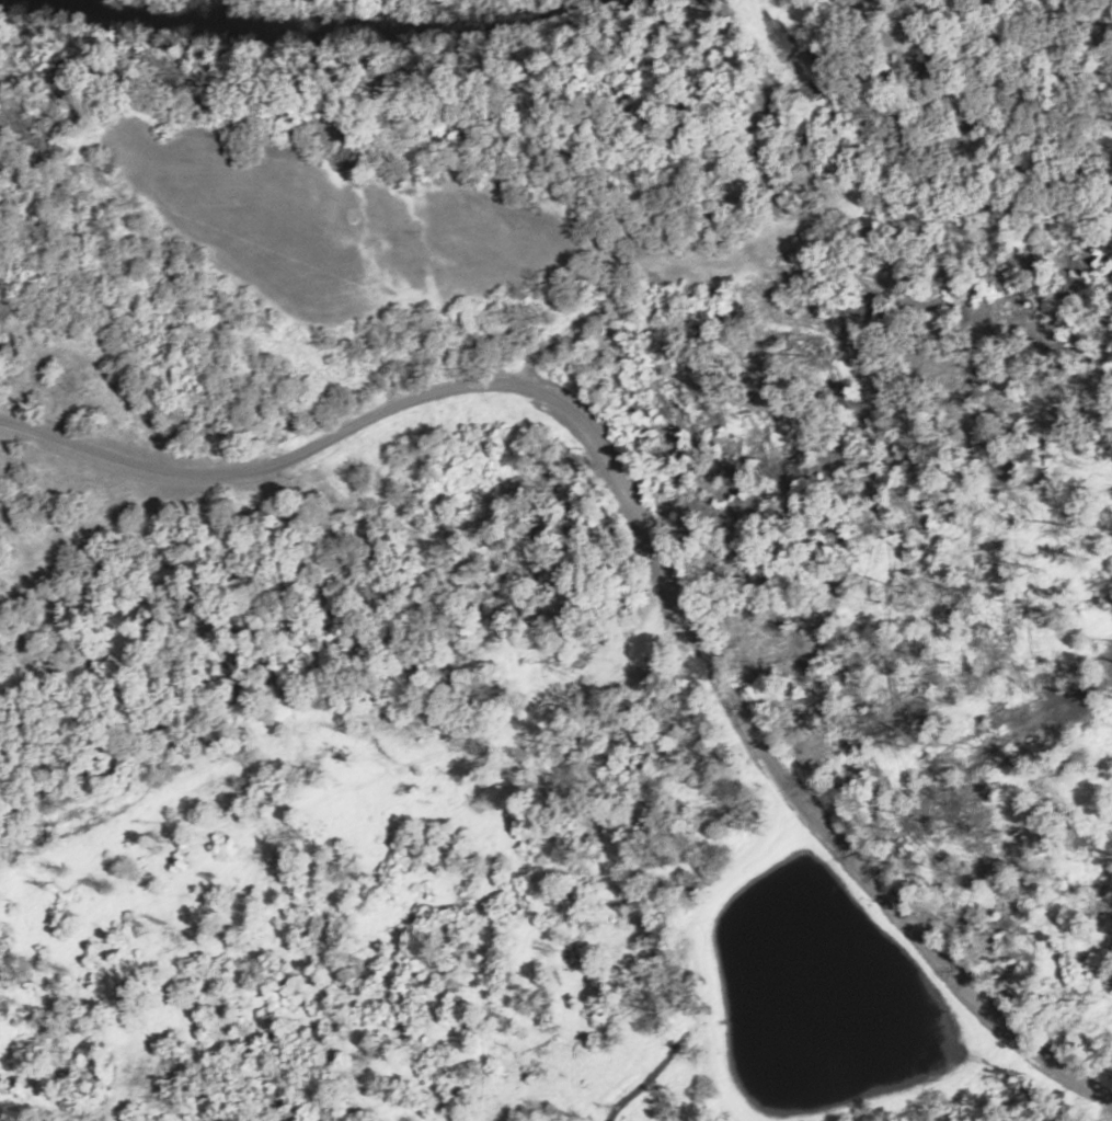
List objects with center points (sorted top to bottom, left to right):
road: (644, 288)
road: (643, 536)

